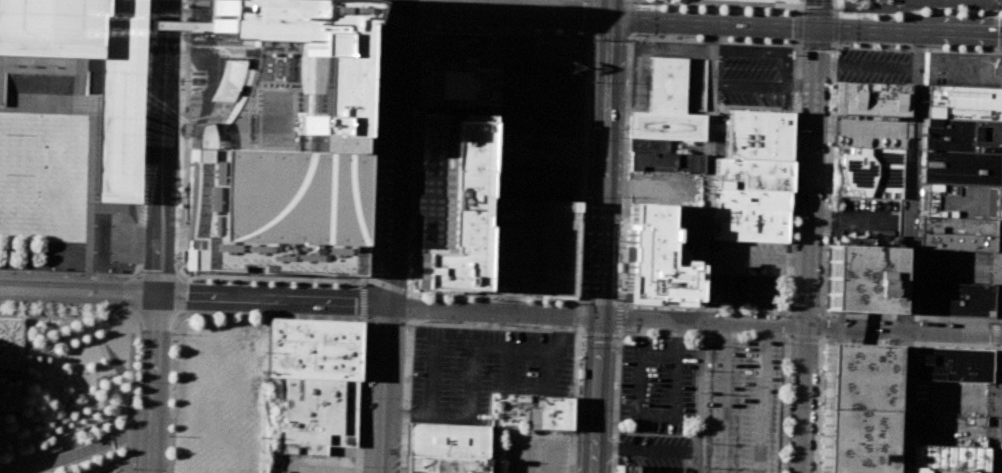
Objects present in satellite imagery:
road: (725, 3)
road: (630, 4)
road: (800, 6)
road: (834, 6)
road: (1001, 8)
street lamp: (684, 9)
road: (834, 9)
street lamp: (838, 9)
street lamp: (752, 11)
street lamp: (964, 12)
road: (419, 13)
road: (799, 13)
road: (817, 13)
road: (817, 13)
road: (835, 13)
road: (588, 17)
traffic signals: (609, 17)
road: (798, 17)
street lamp: (887, 17)
road: (629, 21)
building: (174, 25)
road: (396, 25)
road: (738, 25)
road: (798, 27)
traffic signals: (817, 27)
road: (835, 29)
road: (147, 30)
street lamp: (548, 31)
street lamp: (587, 34)
street lamp: (633, 34)
road: (608, 35)
street lamp: (684, 36)
street lamp: (751, 39)
road: (713, 41)
road: (798, 41)
street lamp: (838, 41)
street lamp: (626, 43)
road: (835, 43)
road: (800, 44)
road: (816, 44)
road: (832, 45)
street lamp: (887, 45)
street lamp: (801, 47)
street lamp: (964, 49)
parking lot: (871, 66)
street lamp: (751, 68)
road: (786, 69)
building: (962, 70)
road: (800, 72)
road: (67, 74)
road: (211, 79)
parking lot: (749, 84)
building: (454, 85)
building: (870, 99)
building: (960, 102)
building: (666, 105)
parking lot: (540, 118)
street lamp: (587, 127)
street lamp: (626, 131)
parking lot: (868, 131)
road: (144, 135)
building: (758, 135)
building: (958, 135)
road: (178, 139)
road: (368, 142)
building: (654, 146)
road: (90, 147)
road: (162, 147)
building: (278, 147)
building: (118, 150)
road: (492, 158)
road: (603, 158)
building: (664, 162)
building: (958, 168)
building: (867, 172)
building: (750, 174)
road: (810, 176)
road: (93, 177)
street lamp: (1001, 190)
building: (749, 199)
building: (451, 201)
building: (956, 201)
road: (115, 208)
parking lot: (864, 221)
building: (748, 224)
building: (955, 225)
road: (390, 236)
railway: (592, 236)
railway: (610, 236)
building: (662, 236)
street lamp: (582, 240)
building: (955, 241)
road: (140, 243)
street lamp: (619, 243)
railway: (618, 244)
building: (535, 248)
parking lot: (535, 248)
road: (705, 249)
street lamp: (92, 250)
road: (908, 252)
road: (756, 256)
parking lot: (953, 267)
street lamp: (47, 270)
street lamp: (103, 272)
road: (823, 272)
road: (43, 273)
parking lot: (746, 273)
road: (109, 276)
building: (862, 278)
road: (272, 280)
road: (385, 289)
road: (755, 290)
road: (78, 291)
road: (410, 294)
building: (952, 299)
road: (377, 307)
road: (409, 308)
road: (703, 308)
street lamp: (21, 310)
street lamp: (59, 311)
road: (790, 311)
street lamp: (100, 312)
road: (805, 312)
road: (787, 313)
road: (822, 313)
road: (65, 314)
road: (269, 315)
road: (578, 315)
street lamp: (997, 316)
road: (179, 318)
street lamp: (407, 318)
road: (368, 319)
road: (995, 322)
street lamp: (981, 323)
road: (786, 324)
street lamp: (365, 326)
street lamp: (405, 326)
road: (492, 326)
road: (800, 326)
road: (822, 326)
street lamp: (574, 328)
street lamp: (170, 333)
street lamp: (578, 334)
road: (993, 334)
street lamp: (616, 336)
road: (704, 336)
road: (68, 339)
road: (804, 339)
road: (905, 343)
road: (997, 347)
building: (312, 349)
railway: (583, 350)
road: (472, 361)
building: (949, 364)
road: (509, 368)
road: (549, 369)
parking lot: (481, 370)
road: (431, 377)
building: (858, 377)
road: (154, 383)
parking lot: (657, 384)
road: (616, 388)
road: (88, 391)
street lamp: (362, 392)
road: (129, 395)
road: (596, 395)
road: (405, 397)
parking lot: (948, 397)
road: (801, 399)
road: (574, 400)
street lamp: (401, 402)
road: (782, 403)
road: (819, 404)
parking lot: (741, 406)
road: (989, 408)
building: (554, 413)
street lamp: (993, 418)
street lamp: (612, 425)
road: (126, 426)
parking lot: (947, 429)
street lamp: (168, 435)
street lamp: (574, 436)
building: (447, 441)
building: (855, 441)
road: (85, 449)
road: (646, 449)
parking lot: (653, 449)
road: (493, 451)
parking lot: (535, 451)
building: (945, 459)
street lamp: (401, 464)
street lamp: (361, 465)
building: (444, 465)
street lamp: (132, 468)
building: (623, 468)

